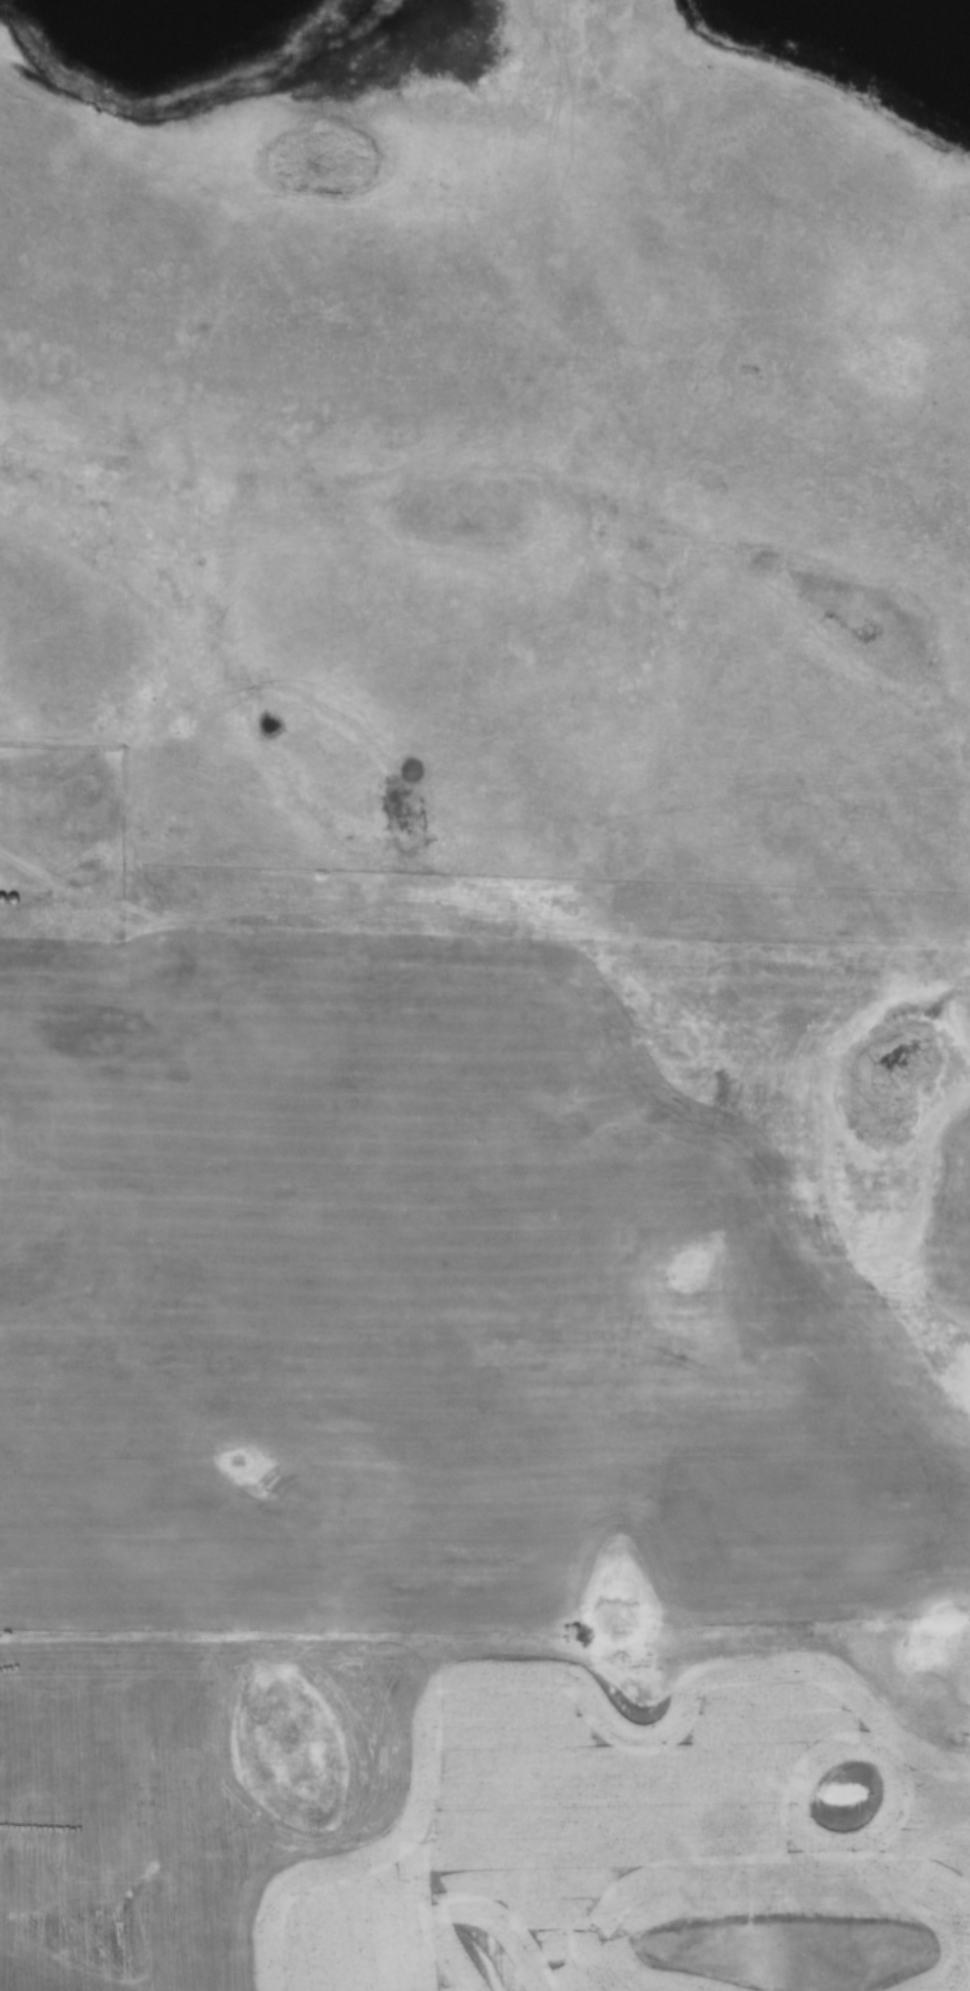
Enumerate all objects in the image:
building: (25, 787)
road: (464, 984)

